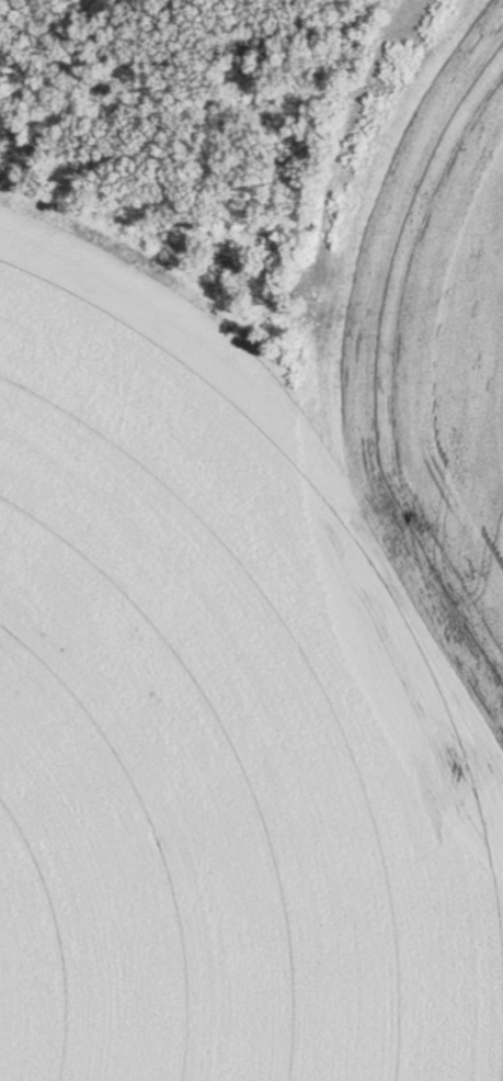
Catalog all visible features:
wastewater plant: (251, 540)

